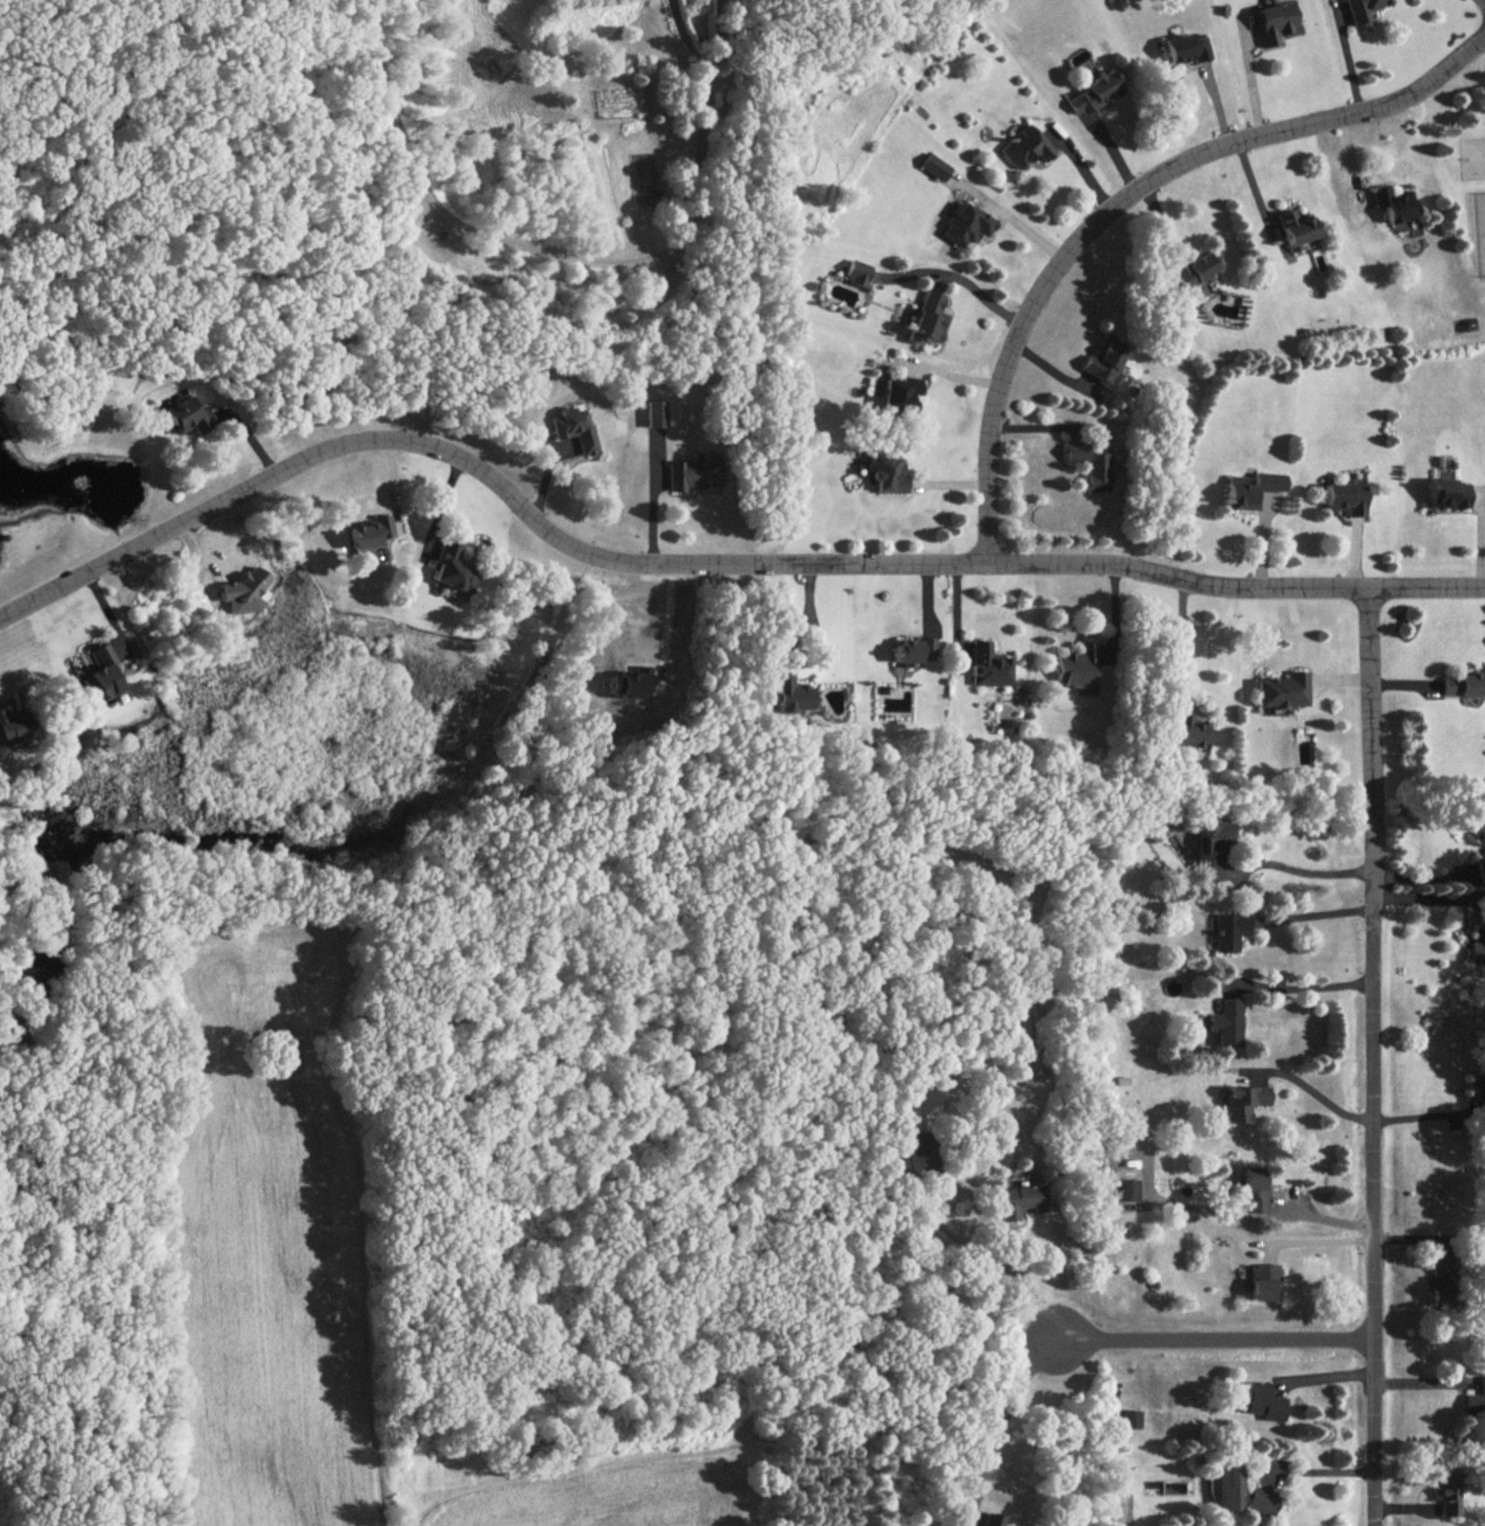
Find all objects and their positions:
building: (1362, 8)
building: (1275, 21)
road: (717, 37)
road: (686, 39)
building: (1185, 48)
road: (1348, 63)
building: (1093, 93)
building: (1024, 147)
building: (934, 166)
road: (1124, 200)
building: (1395, 203)
building: (966, 225)
building: (1296, 228)
road: (532, 249)
building: (1192, 270)
building: (856, 271)
road: (959, 277)
building: (928, 319)
building: (1103, 361)
building: (899, 393)
building: (187, 415)
building: (574, 428)
building: (1090, 465)
building: (886, 472)
building: (695, 473)
building: (1250, 489)
building: (1445, 493)
building: (1344, 498)
road: (653, 502)
road: (442, 505)
building: (367, 532)
road: (703, 564)
building: (451, 569)
building: (242, 590)
road: (809, 616)
road: (665, 619)
road: (1183, 638)
building: (913, 650)
building: (989, 665)
building: (1079, 668)
building: (100, 675)
building: (629, 684)
building: (1463, 685)
building: (1282, 690)
building: (791, 694)
building: (15, 730)
building: (1191, 731)
building: (1482, 830)
building: (1209, 849)
road: (1306, 872)
road: (1427, 896)
road: (1317, 917)
building: (1228, 930)
building: (1477, 937)
road: (1311, 988)
building: (1227, 1022)
road: (1374, 1056)
road: (1313, 1094)
building: (1243, 1101)
road: (1427, 1116)
building: (913, 1156)
building: (1127, 1189)
building: (1254, 1189)
building: (1021, 1201)
road: (1317, 1219)
road: (1321, 1241)
road: (1016, 1269)
building: (1439, 1278)
building: (1259, 1281)
road: (1214, 1340)
road: (1320, 1376)
building: (1475, 1399)
building: (1262, 1402)
building: (1131, 1419)
road: (1001, 1423)
road: (1318, 1470)
building: (1228, 1488)
building: (1446, 1492)
building: (1259, 1501)
building: (991, 1519)

